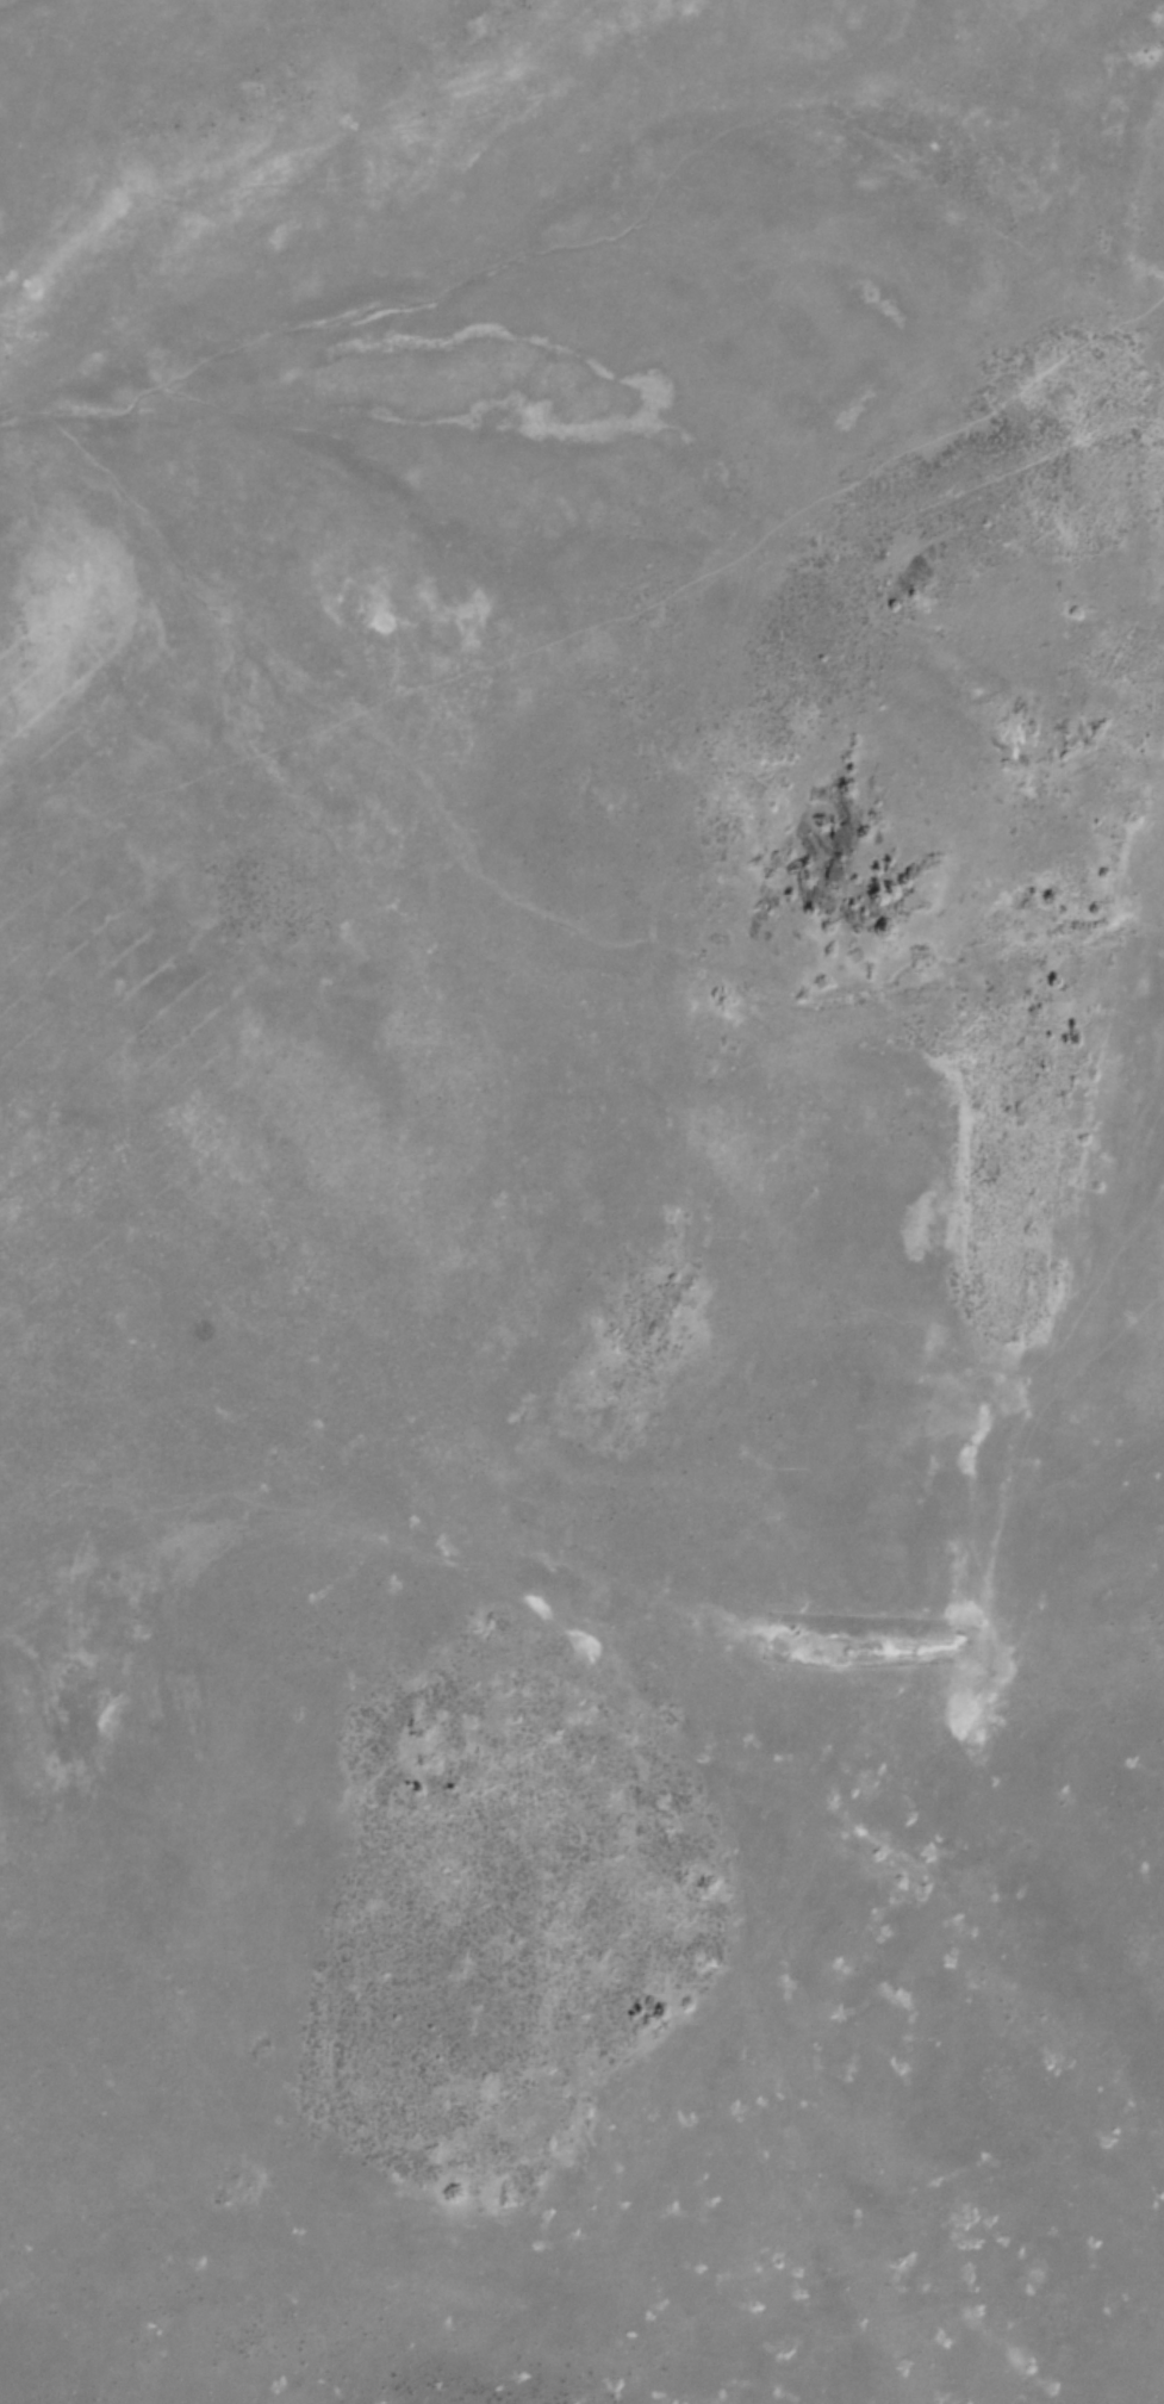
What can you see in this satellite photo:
road: (13, 4)

